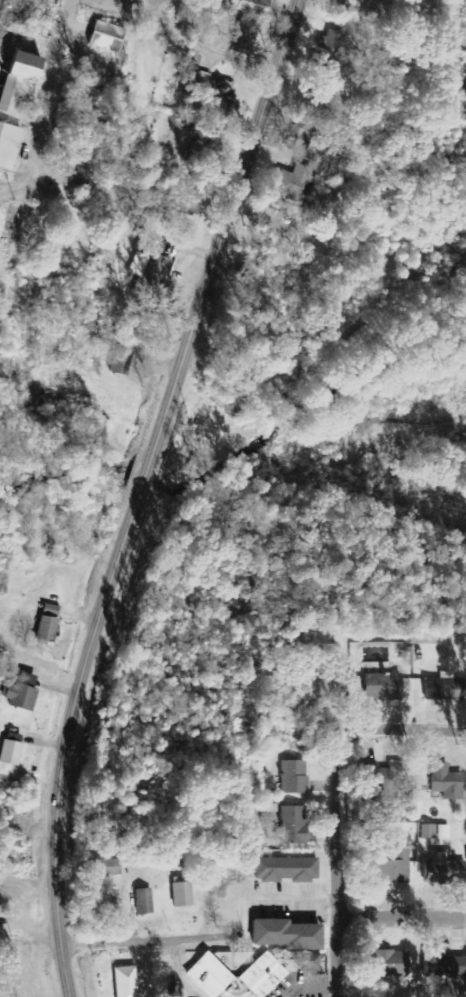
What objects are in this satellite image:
road: (144, 1)
building: (249, 6)
building: (102, 36)
building: (243, 36)
road: (200, 37)
building: (329, 42)
building: (320, 63)
building: (16, 83)
building: (216, 98)
building: (297, 140)
building: (7, 145)
building: (70, 175)
road: (37, 183)
building: (292, 183)
building: (148, 277)
building: (118, 362)
road: (138, 491)
building: (43, 630)
building: (379, 687)
building: (440, 688)
building: (19, 693)
road: (402, 732)
building: (8, 753)
building: (292, 777)
building: (443, 783)
building: (291, 826)
building: (426, 832)
building: (442, 832)
road: (332, 867)
building: (102, 868)
building: (390, 868)
building: (284, 870)
building: (437, 871)
building: (179, 895)
road: (295, 900)
building: (142, 902)
road: (399, 917)
building: (282, 935)
road: (136, 943)
building: (389, 966)
building: (444, 966)
building: (263, 973)
building: (123, 982)
road: (309, 985)

